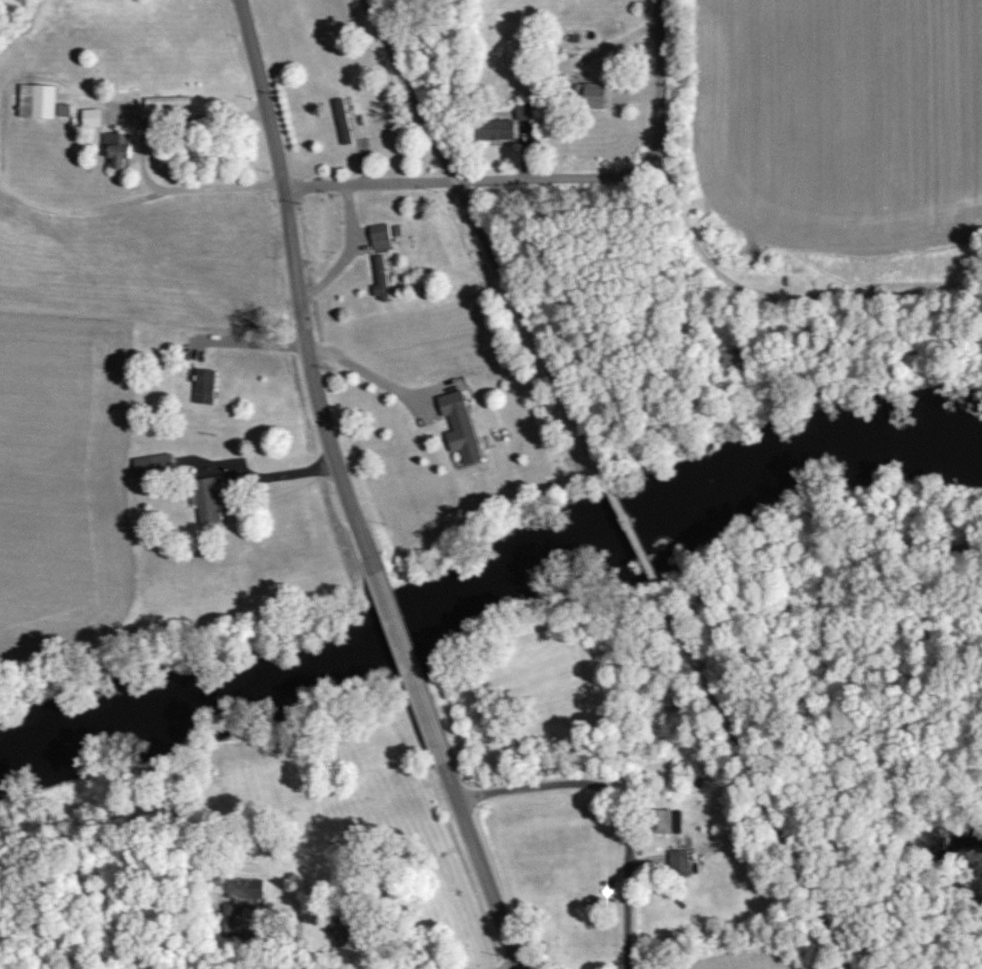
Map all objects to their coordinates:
road: (241, 1)
road: (659, 82)
road: (406, 86)
building: (590, 94)
building: (36, 100)
building: (166, 101)
building: (62, 109)
road: (203, 114)
building: (90, 117)
building: (341, 121)
building: (493, 128)
building: (117, 148)
road: (454, 180)
road: (467, 181)
building: (379, 236)
building: (379, 277)
road: (298, 288)
road: (778, 295)
road: (530, 329)
building: (733, 355)
building: (203, 386)
building: (458, 425)
building: (151, 464)
building: (207, 498)
road: (632, 536)
river: (489, 583)
road: (408, 666)
road: (537, 784)
road: (755, 785)
building: (666, 821)
building: (677, 862)
road: (480, 865)
road: (627, 877)
building: (243, 889)
building: (230, 918)
building: (338, 933)
road: (931, 965)

